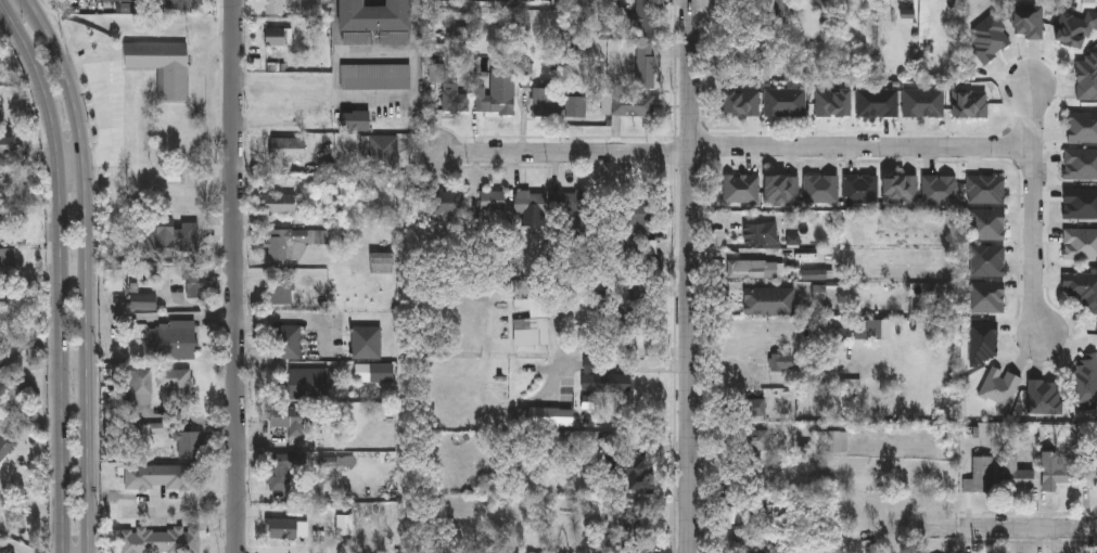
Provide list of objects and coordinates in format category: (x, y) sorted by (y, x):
building: (931, 0)
building: (822, 2)
building: (64, 3)
building: (276, 5)
building: (774, 12)
building: (374, 15)
building: (648, 17)
building: (1026, 20)
building: (1075, 26)
building: (277, 37)
building: (987, 37)
building: (647, 64)
building: (162, 67)
building: (1, 68)
building: (377, 75)
building: (1087, 76)
building: (497, 93)
building: (455, 98)
building: (545, 100)
building: (831, 101)
building: (738, 102)
building: (785, 102)
building: (877, 102)
building: (923, 102)
road: (375, 103)
building: (634, 103)
building: (969, 103)
building: (357, 119)
road: (113, 126)
building: (1082, 126)
road: (862, 146)
road: (565, 154)
road: (72, 157)
building: (1081, 164)
building: (740, 189)
building: (779, 189)
building: (820, 189)
building: (859, 189)
building: (898, 189)
building: (985, 189)
building: (940, 190)
building: (494, 200)
building: (283, 202)
building: (574, 202)
building: (449, 203)
building: (1080, 203)
building: (533, 204)
road: (1032, 208)
building: (987, 224)
building: (1, 227)
building: (758, 233)
building: (167, 236)
building: (286, 244)
building: (1080, 244)
building: (650, 246)
building: (8, 259)
building: (987, 260)
building: (382, 261)
building: (744, 269)
road: (90, 270)
road: (62, 271)
road: (237, 276)
road: (690, 276)
building: (194, 281)
building: (1082, 288)
building: (282, 292)
building: (986, 298)
building: (768, 301)
building: (144, 303)
road: (187, 319)
road: (298, 321)
building: (532, 330)
building: (174, 340)
building: (285, 340)
building: (367, 340)
building: (983, 342)
road: (740, 348)
road: (624, 352)
building: (780, 362)
road: (597, 369)
road: (651, 370)
building: (382, 371)
building: (608, 381)
building: (309, 383)
building: (1084, 383)
building: (175, 385)
building: (1000, 386)
building: (140, 388)
building: (21, 391)
building: (1044, 396)
building: (750, 409)
building: (290, 417)
building: (753, 439)
building: (832, 440)
building: (190, 443)
building: (5, 446)
building: (289, 467)
building: (751, 472)
building: (1015, 472)
building: (1057, 473)
building: (979, 474)
building: (161, 475)
building: (731, 515)
building: (282, 527)
road: (1030, 528)
building: (161, 539)

